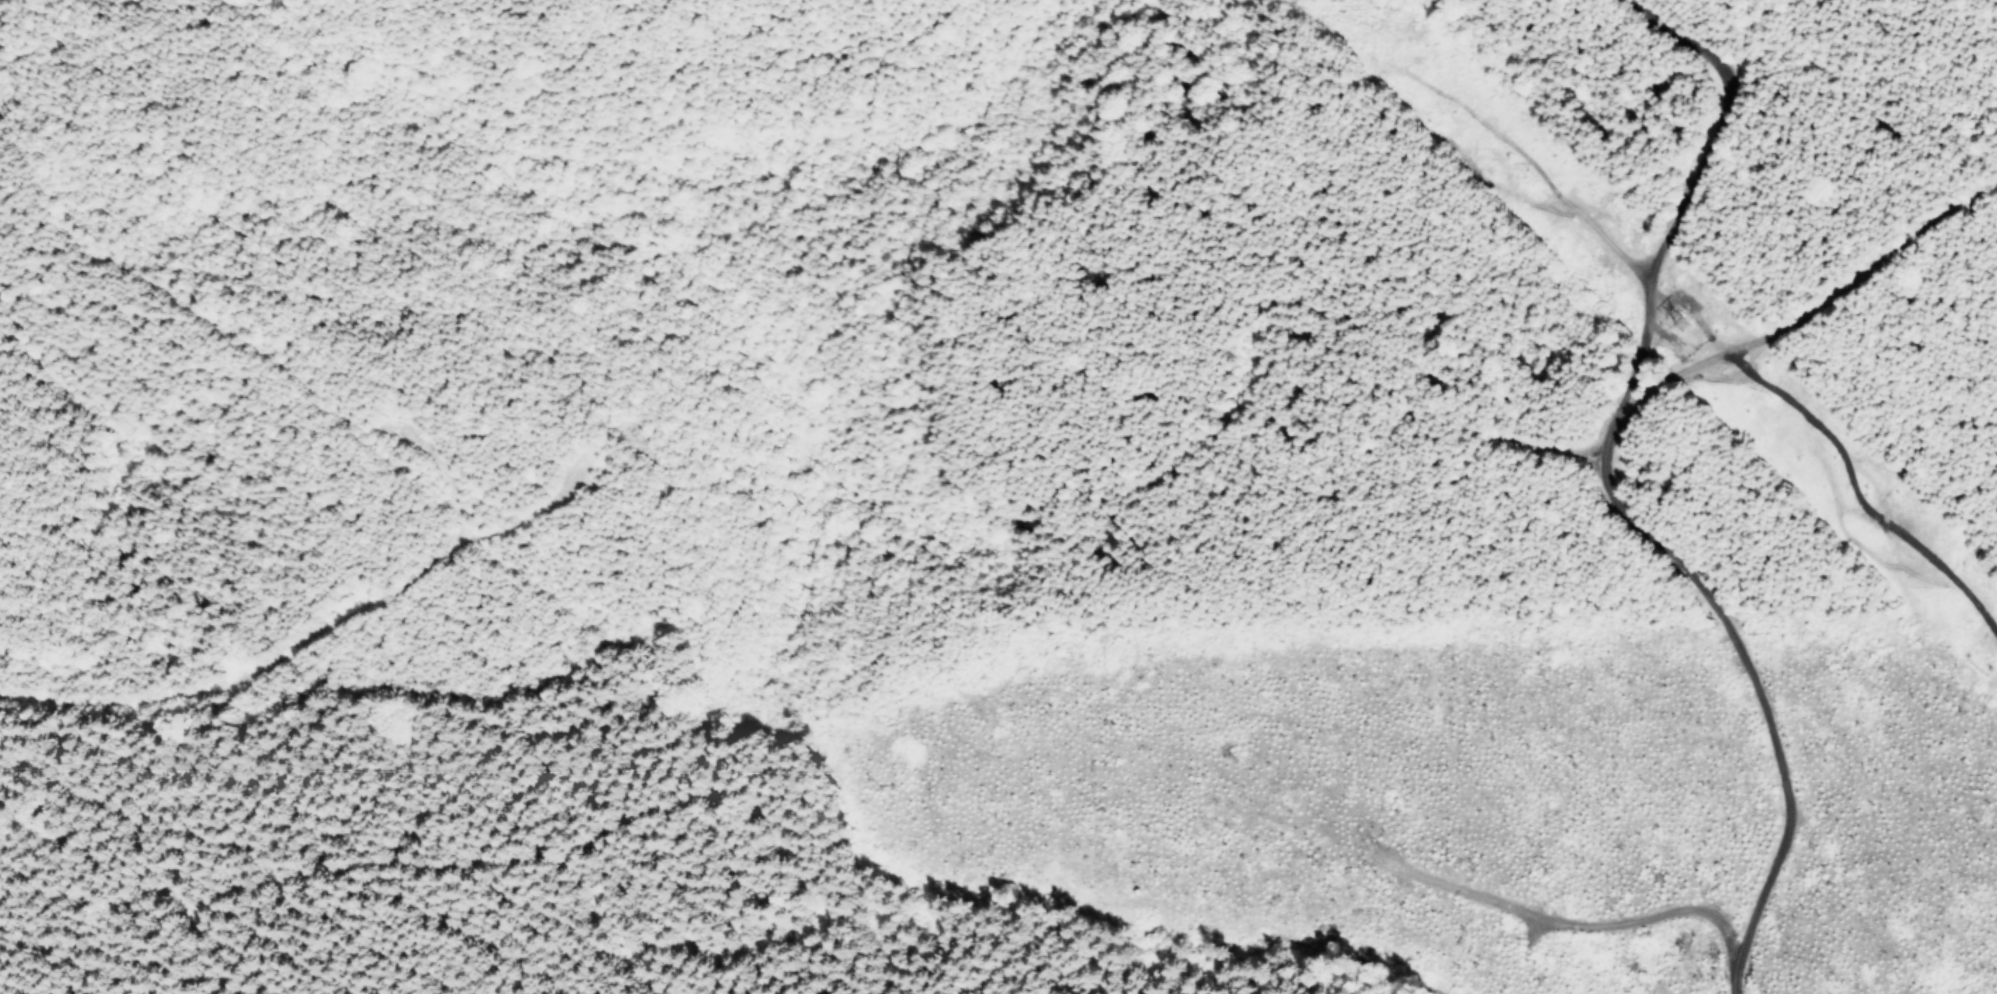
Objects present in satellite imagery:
power tower: (1667, 314)
road: (1764, 333)
road: (1665, 552)

